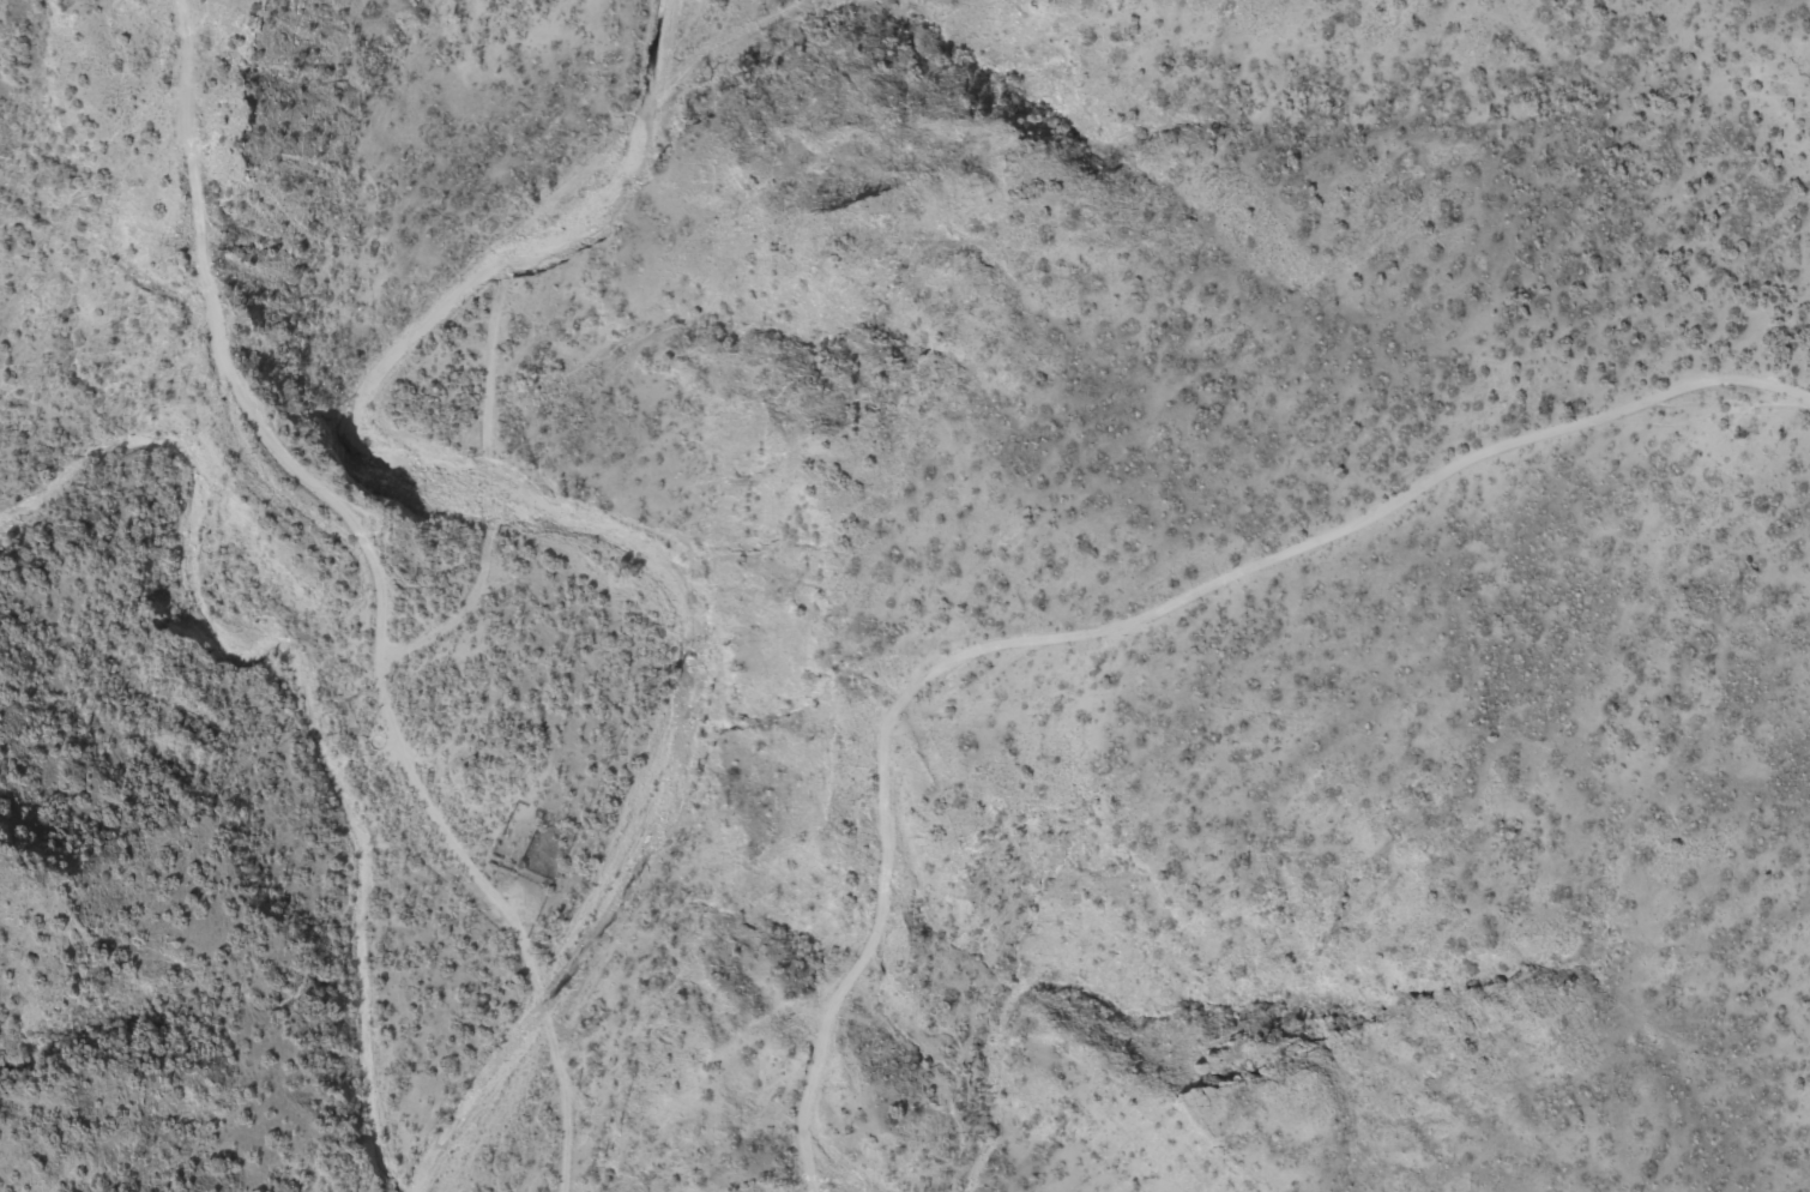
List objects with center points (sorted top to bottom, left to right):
road: (296, 607)
road: (1227, 817)

